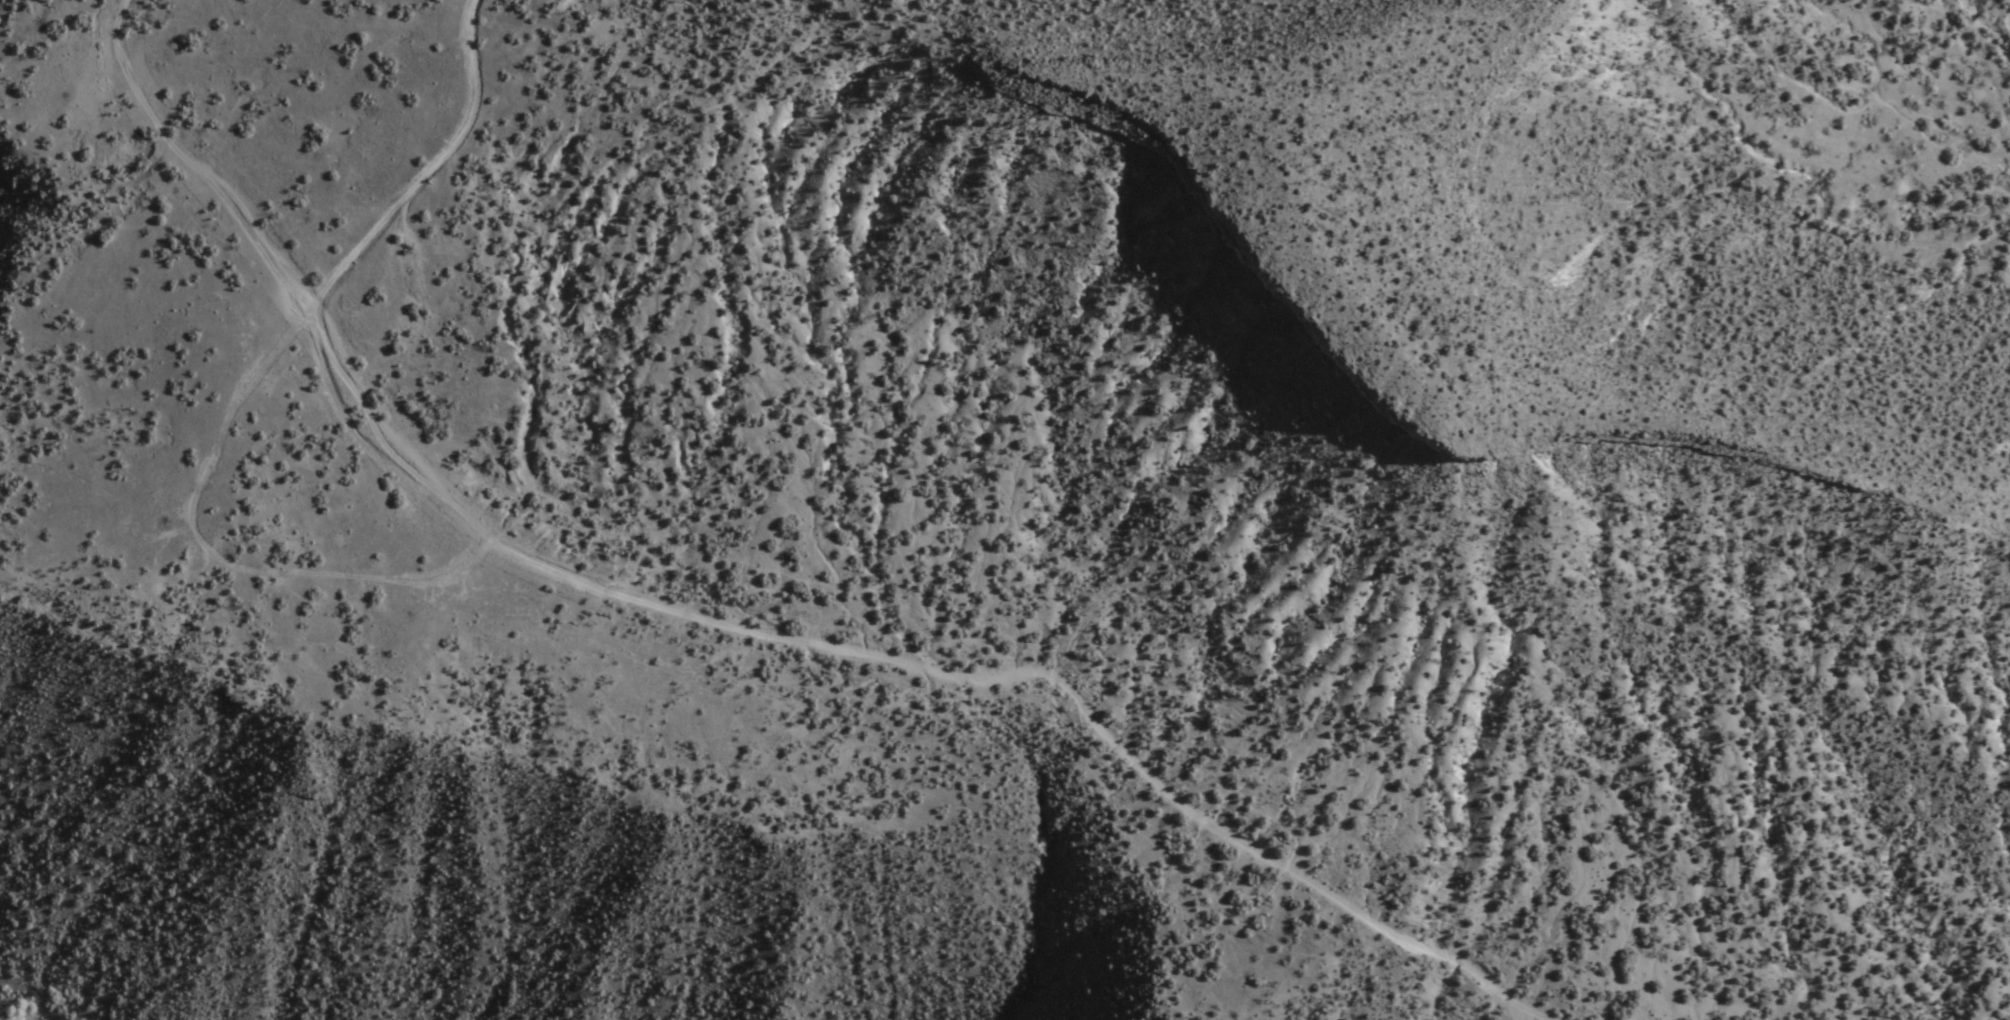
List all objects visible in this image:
road: (405, 155)
road: (191, 163)
road: (917, 668)

